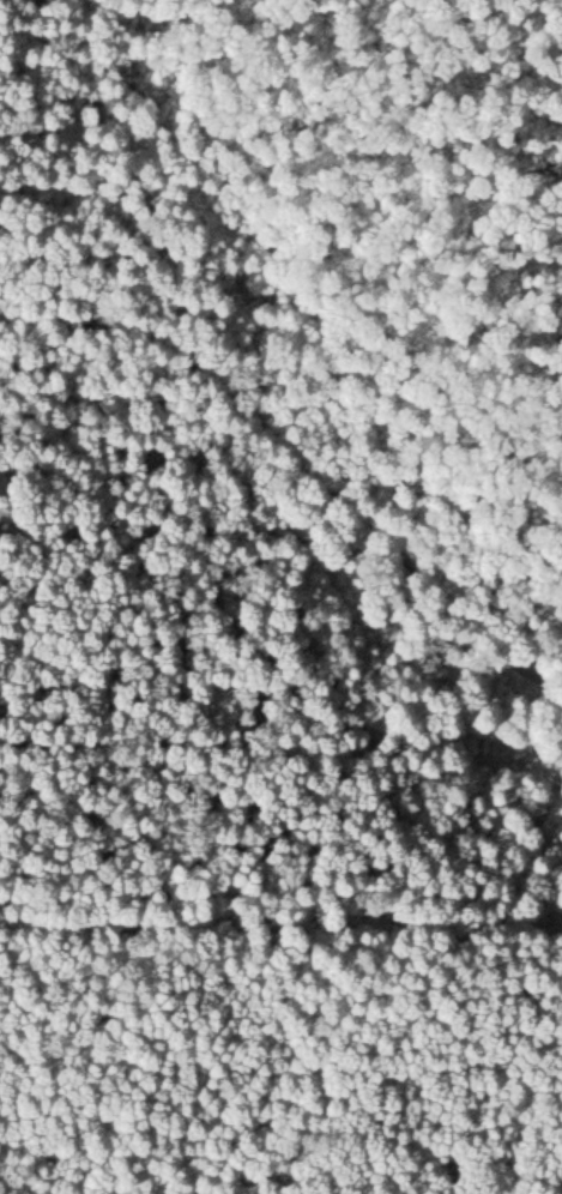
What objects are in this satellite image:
road: (297, 471)

